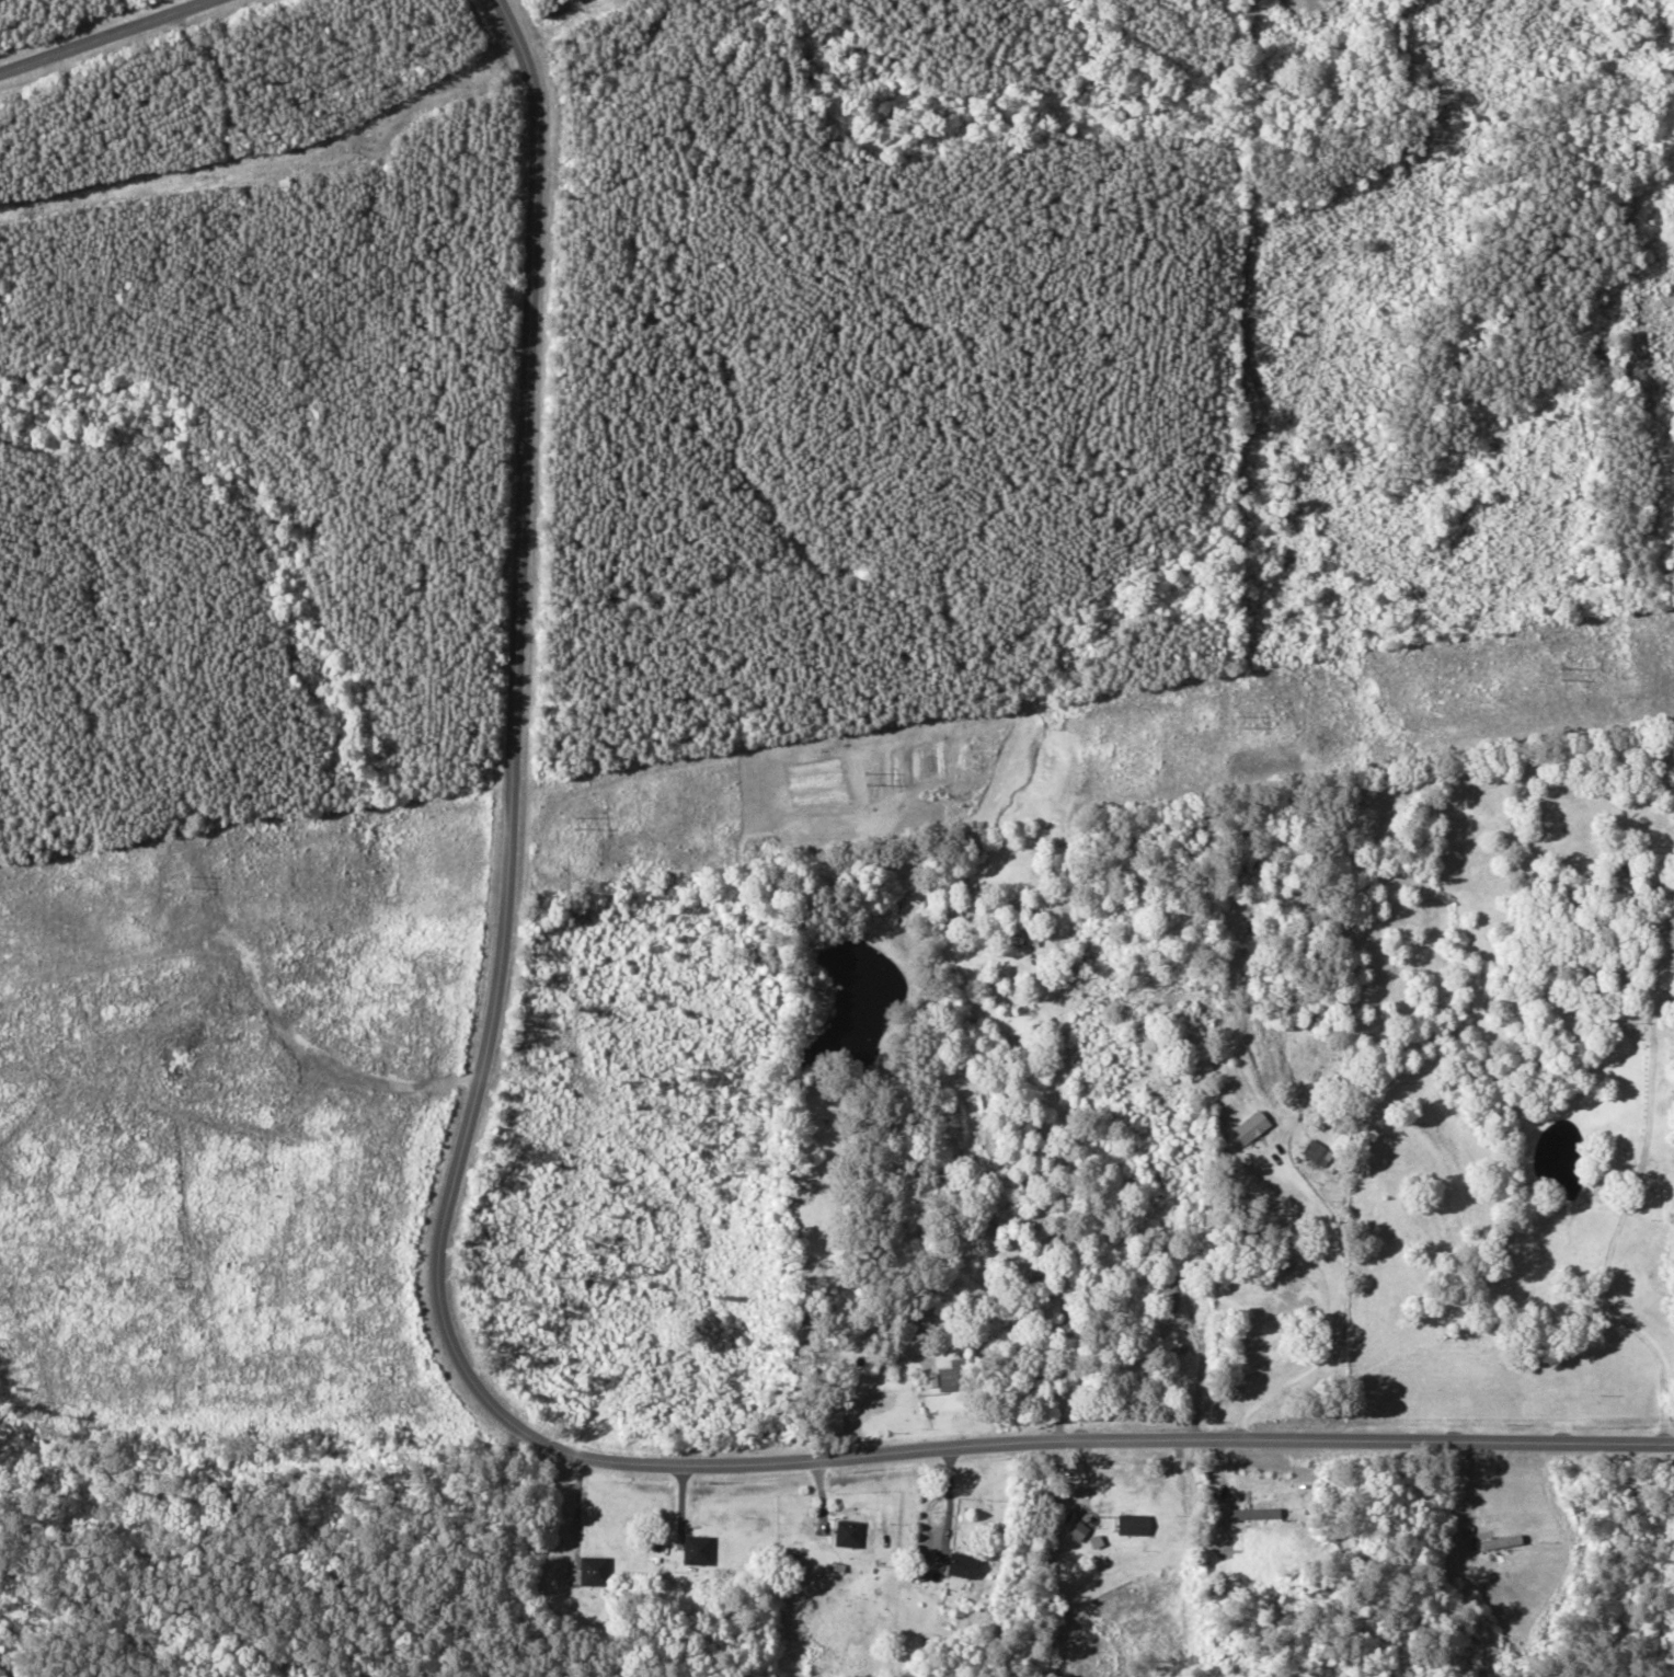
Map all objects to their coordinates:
road: (1001, 13)
road: (101, 35)
building: (1616, 871)
building: (1027, 940)
building: (1628, 970)
building: (1250, 1127)
building: (1314, 1150)
building: (1171, 1291)
road: (434, 1301)
building: (944, 1378)
building: (1126, 1378)
building: (832, 1422)
building: (1253, 1512)
building: (1132, 1524)
building: (1077, 1530)
building: (848, 1532)
building: (1498, 1541)
building: (698, 1548)
building: (963, 1564)
building: (594, 1569)

